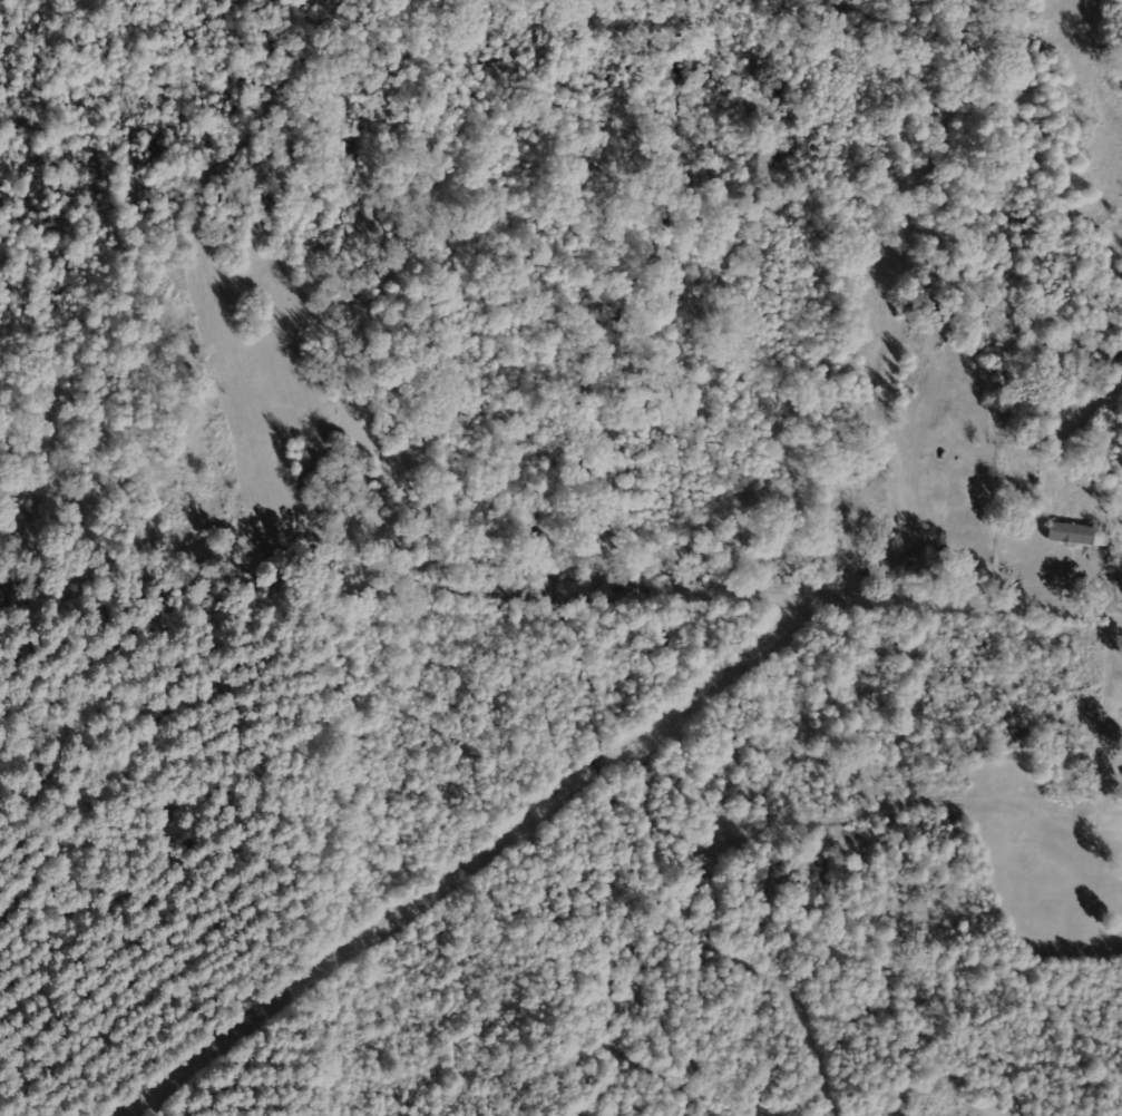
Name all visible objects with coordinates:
building: (1075, 533)

